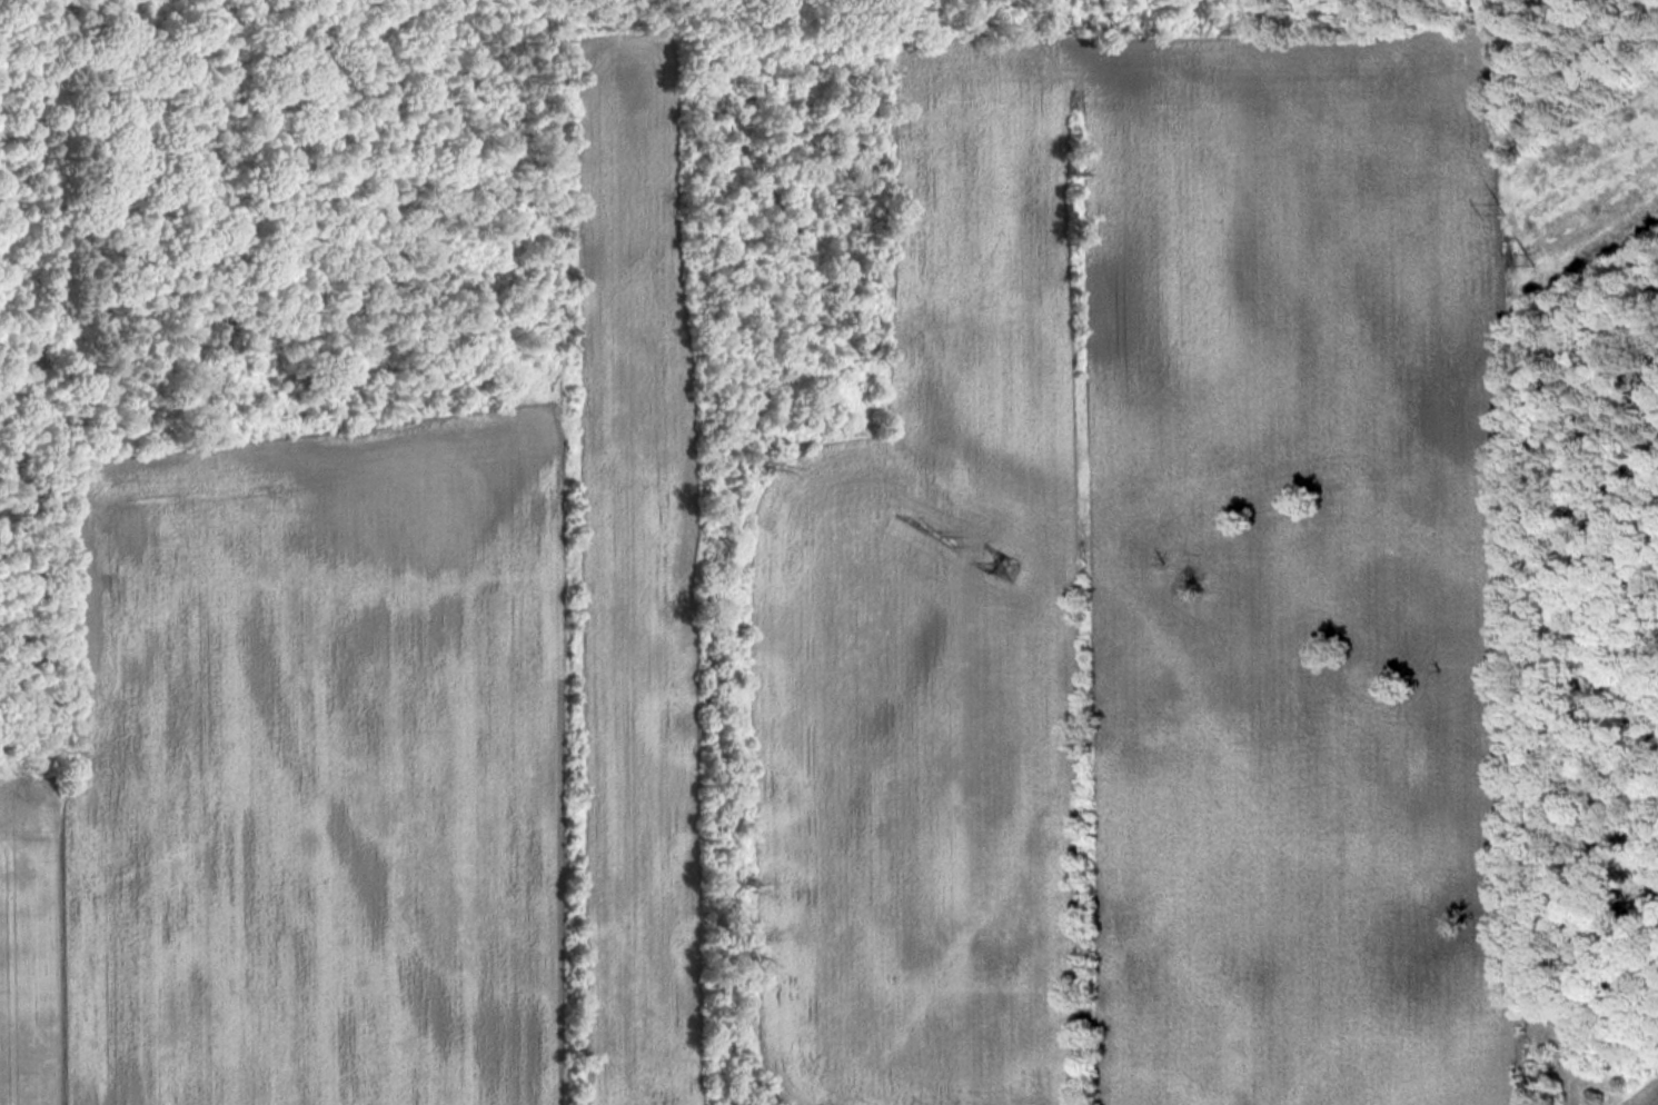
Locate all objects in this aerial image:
power tower: (1498, 209)
power tower: (1527, 259)
power tower: (944, 527)
power tower: (1007, 565)

